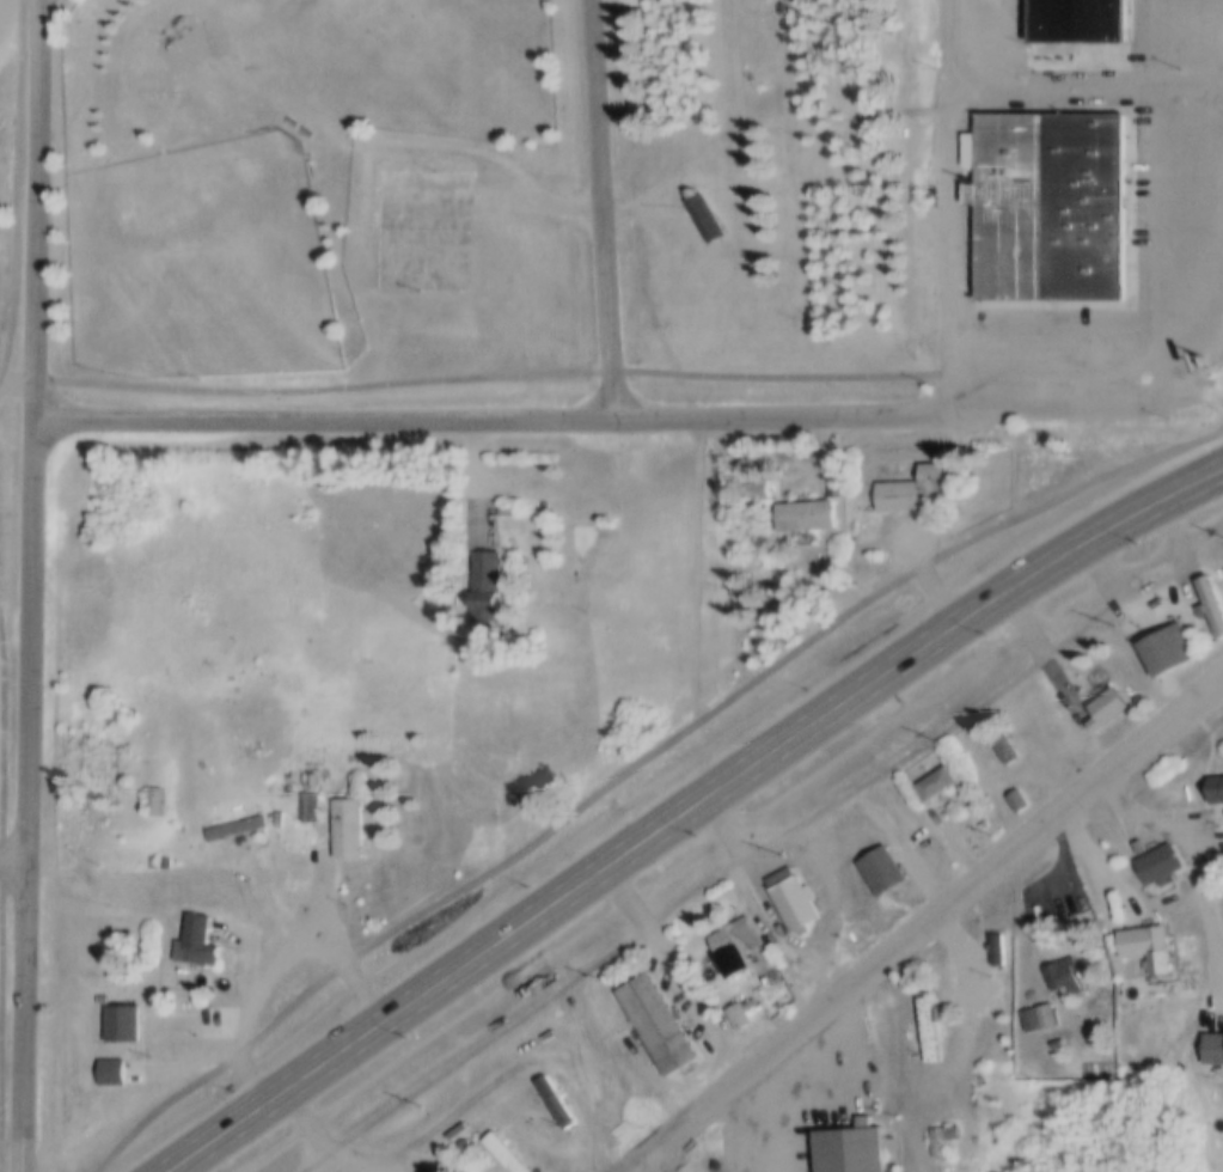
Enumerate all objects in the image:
building: (1074, 20)
road: (1217, 56)
road: (478, 153)
road: (16, 191)
park: (494, 200)
building: (1045, 206)
road: (601, 208)
building: (704, 214)
park: (424, 225)
park: (209, 257)
road: (491, 376)
road: (18, 386)
road: (691, 416)
building: (863, 460)
building: (911, 484)
building: (754, 486)
building: (803, 511)
road: (697, 567)
building: (485, 579)
road: (35, 585)
road: (1160, 599)
building: (1211, 600)
building: (1166, 645)
building: (1105, 703)
building: (1004, 743)
building: (1068, 743)
road: (635, 764)
building: (311, 774)
building: (932, 779)
building: (1216, 785)
building: (1017, 795)
building: (154, 796)
road: (845, 800)
building: (310, 801)
road: (685, 810)
building: (237, 824)
building: (348, 824)
road: (1, 826)
road: (1094, 857)
building: (1157, 857)
road: (16, 859)
building: (880, 865)
building: (791, 892)
road: (922, 921)
building: (196, 936)
building: (735, 940)
building: (1145, 941)
building: (990, 951)
road: (275, 970)
building: (1062, 970)
road: (669, 972)
building: (750, 1000)
building: (739, 1011)
building: (1046, 1012)
building: (1029, 1015)
building: (658, 1017)
building: (121, 1019)
building: (929, 1021)
building: (1212, 1044)
building: (109, 1067)
building: (556, 1095)
building: (973, 1097)
road: (748, 1123)
road: (308, 1125)
building: (941, 1137)
building: (848, 1146)
building: (506, 1150)

